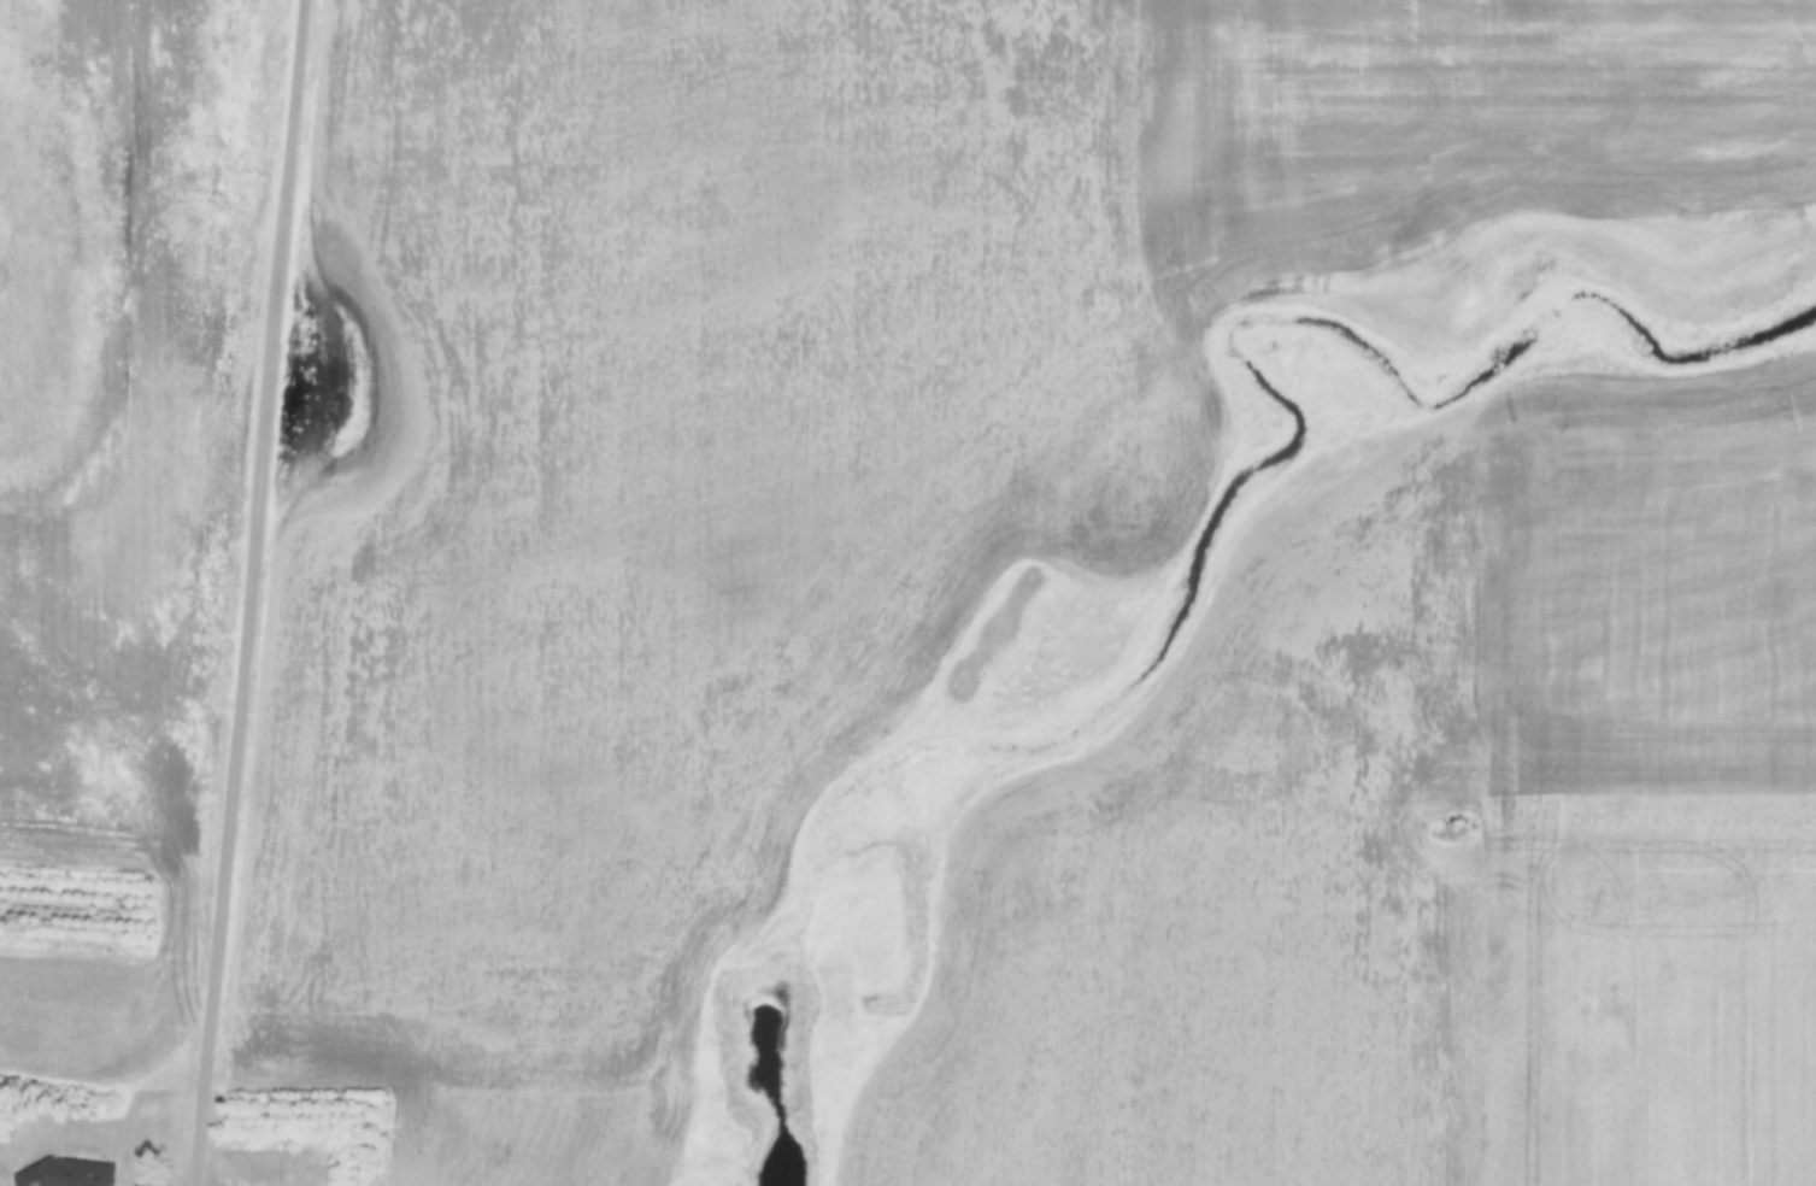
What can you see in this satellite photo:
road: (254, 593)
building: (71, 1175)

